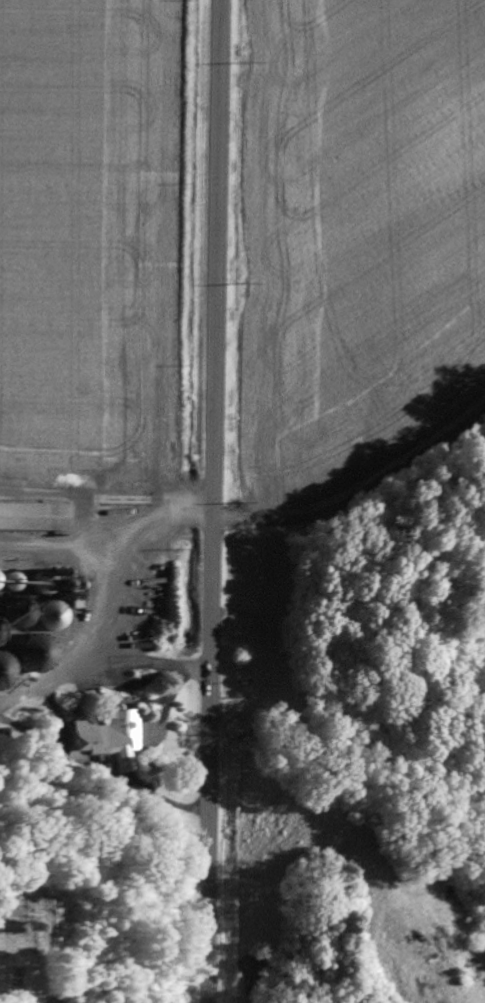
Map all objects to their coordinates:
road: (359, 491)
road: (215, 501)
building: (36, 516)
building: (119, 733)

